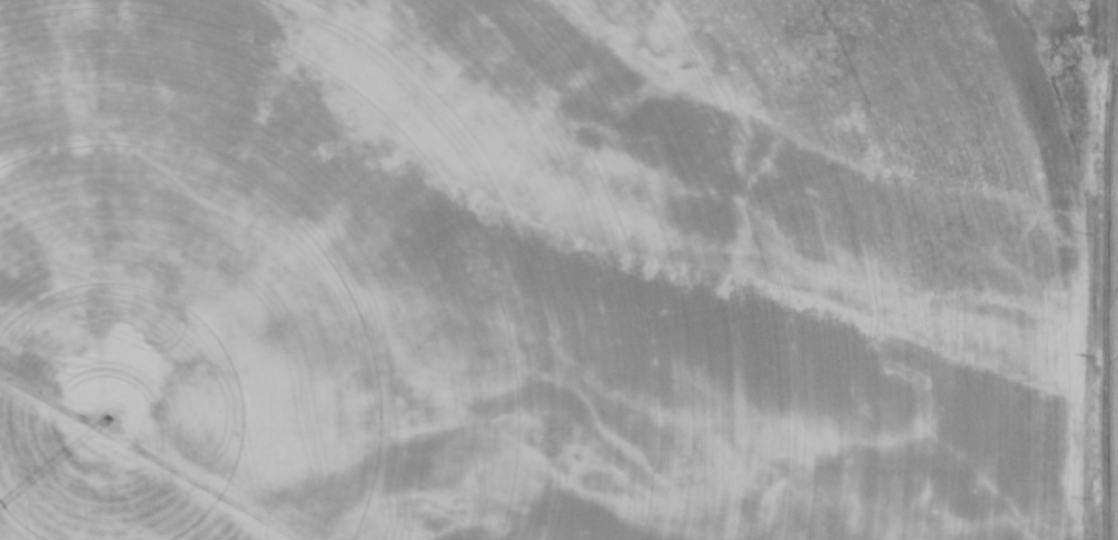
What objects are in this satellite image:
crop: (545, 274)

